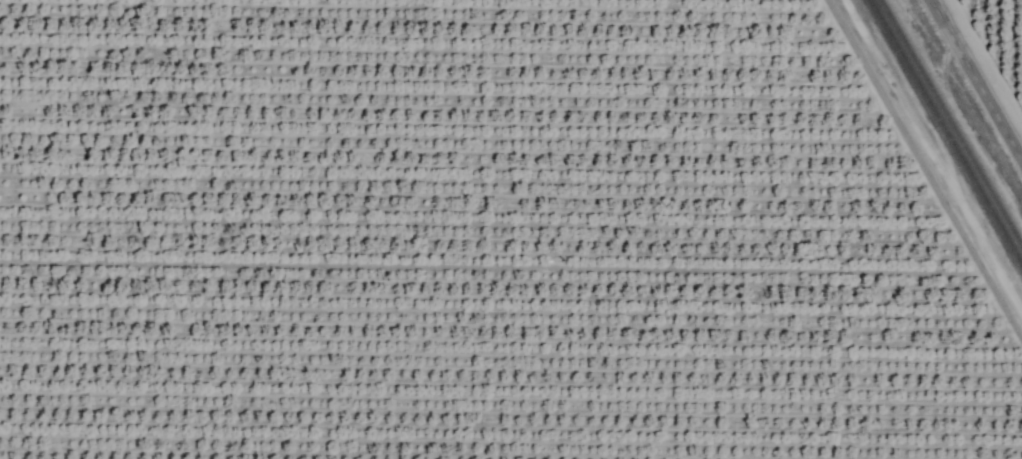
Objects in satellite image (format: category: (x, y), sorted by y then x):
road: (978, 76)
railway: (949, 127)
railway: (943, 136)
crop: (511, 229)

